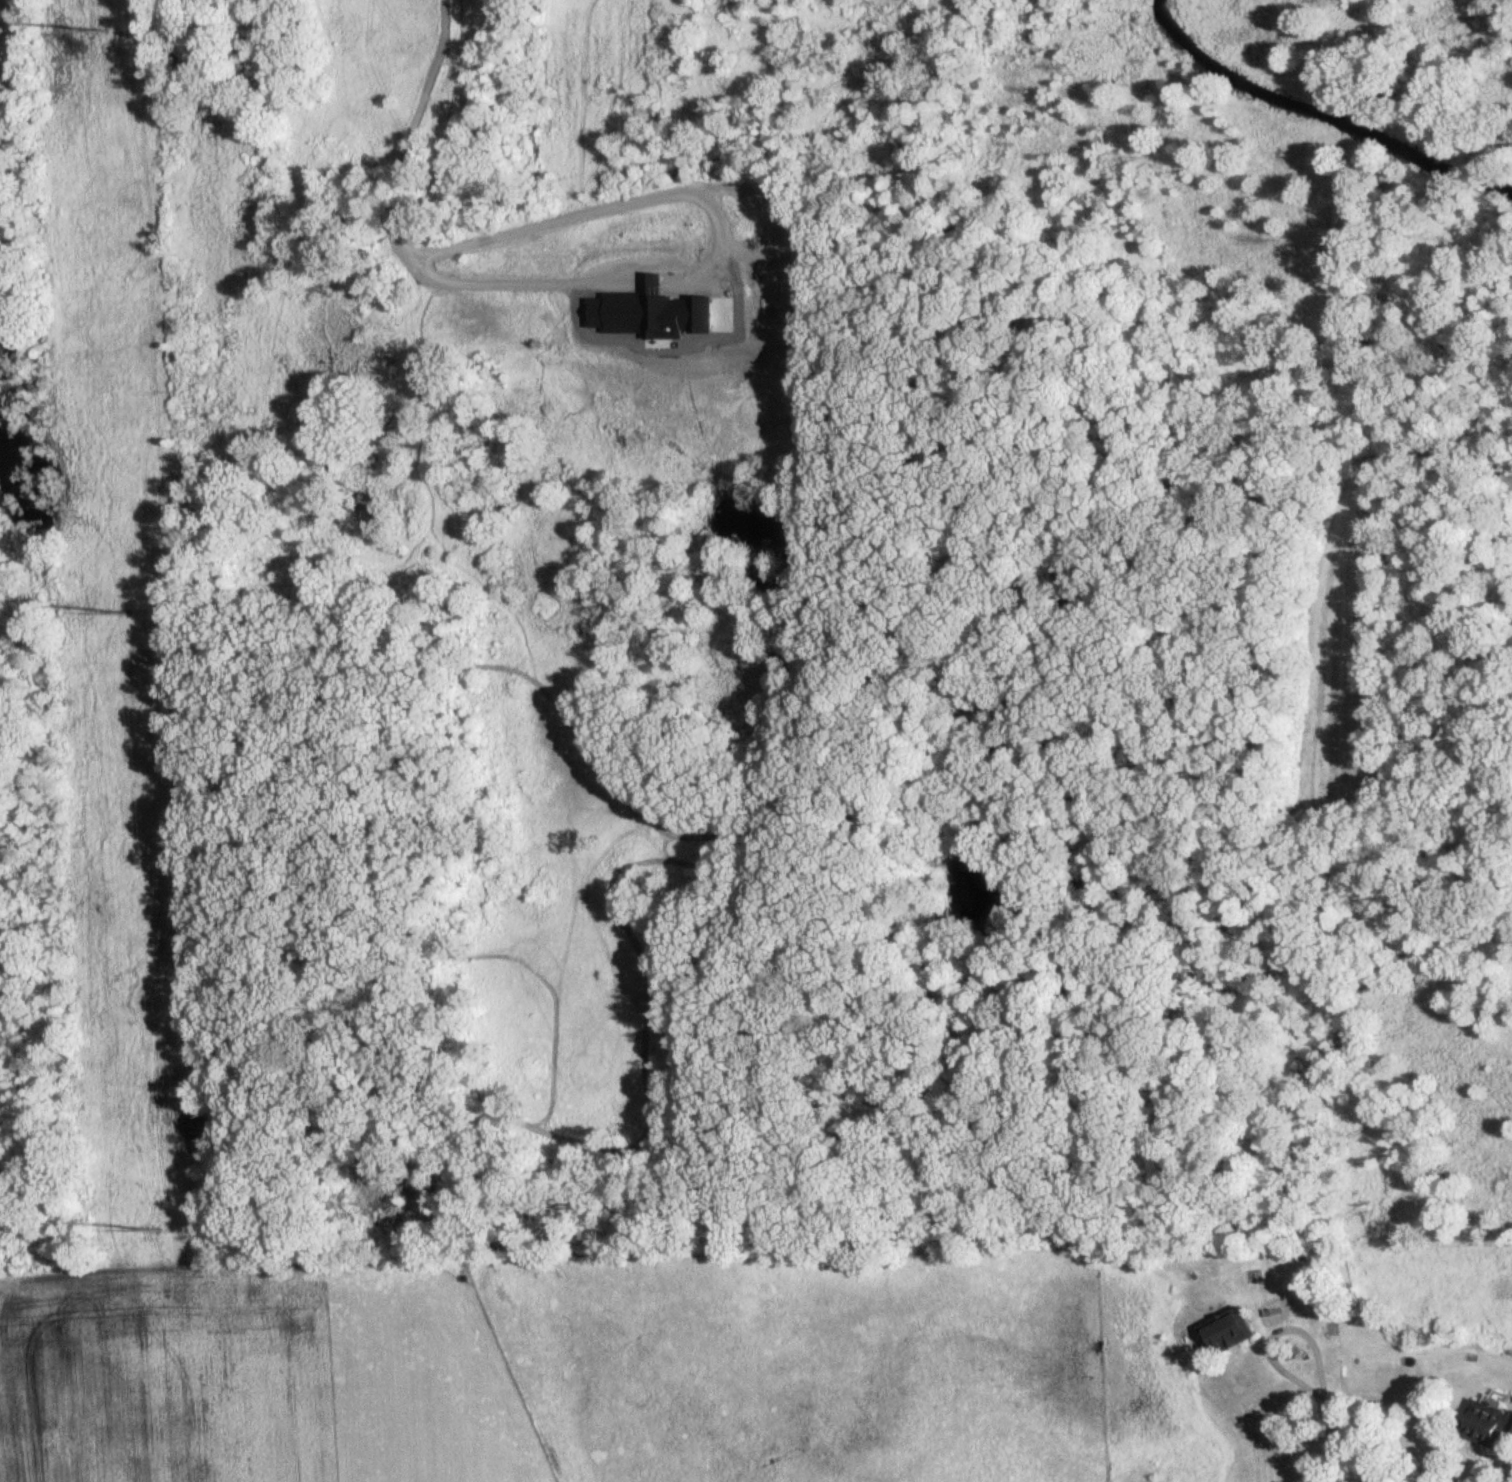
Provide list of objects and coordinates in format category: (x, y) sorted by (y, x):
power tower: (105, 30)
road: (434, 81)
power tower: (130, 610)
power tower: (159, 1230)
building: (1225, 1331)
road: (1280, 1332)
building: (1485, 1421)
road: (1328, 1440)

